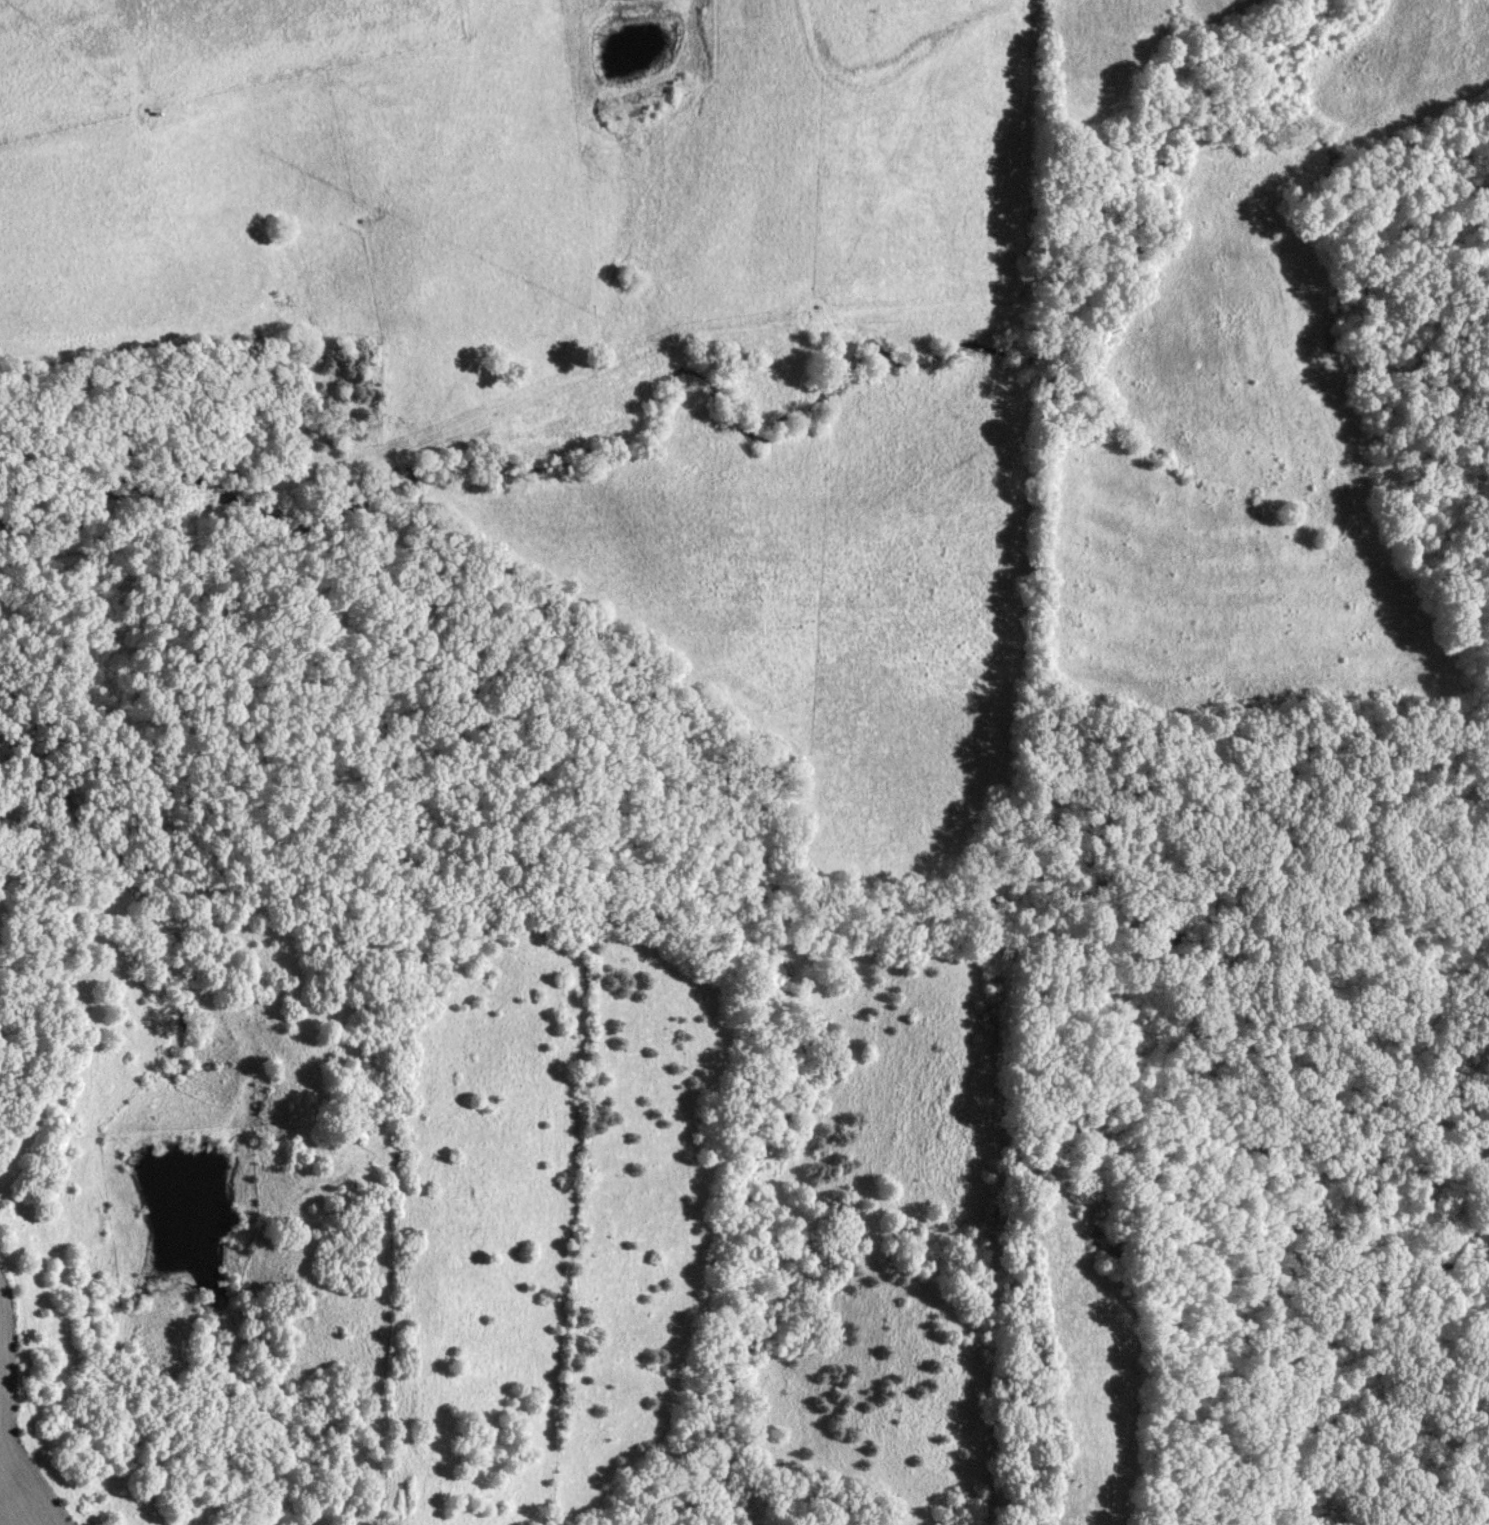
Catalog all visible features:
road: (1037, 12)
road: (839, 133)

